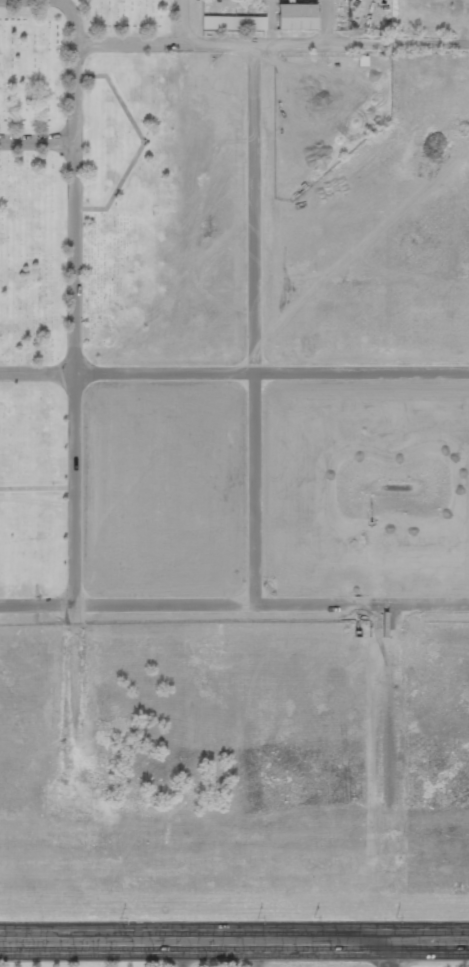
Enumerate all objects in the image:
building: (295, 16)
building: (233, 22)
road: (36, 141)
park: (71, 302)
road: (73, 336)
road: (37, 371)
road: (234, 941)
road: (385, 954)

